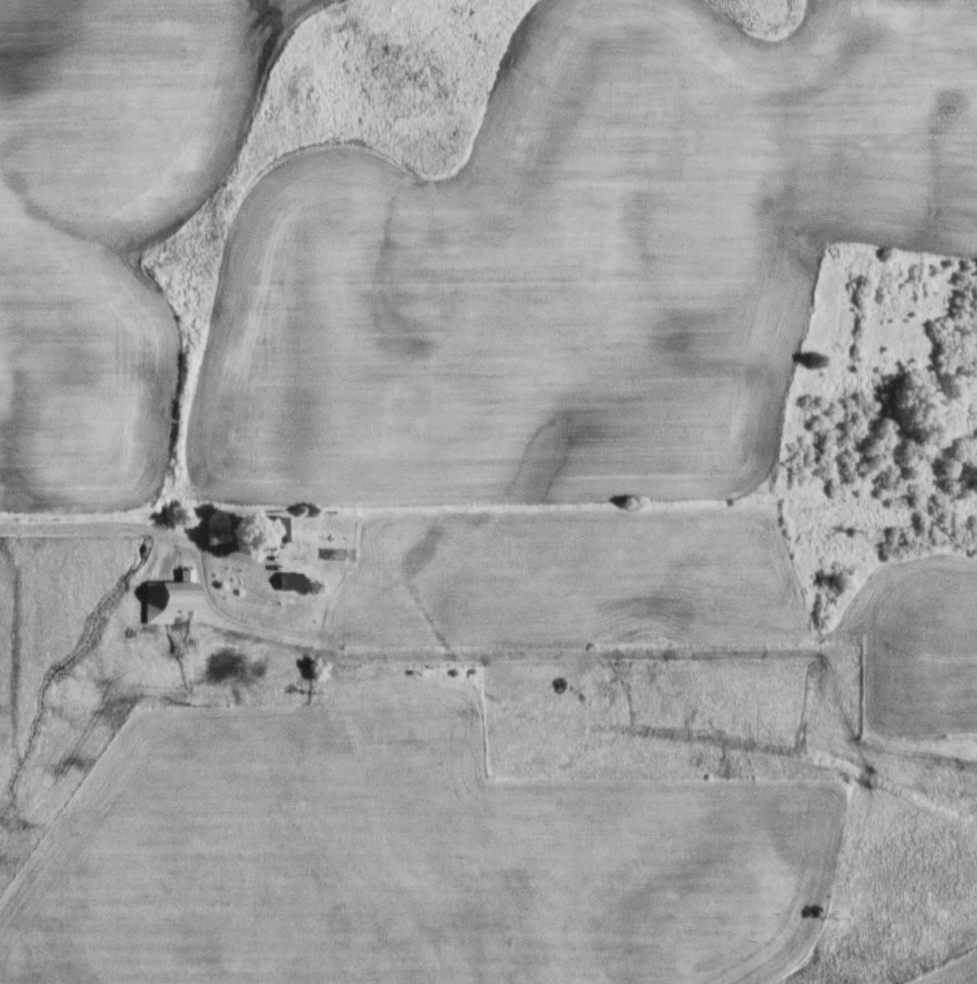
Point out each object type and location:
building: (276, 529)
building: (295, 581)
building: (173, 598)

